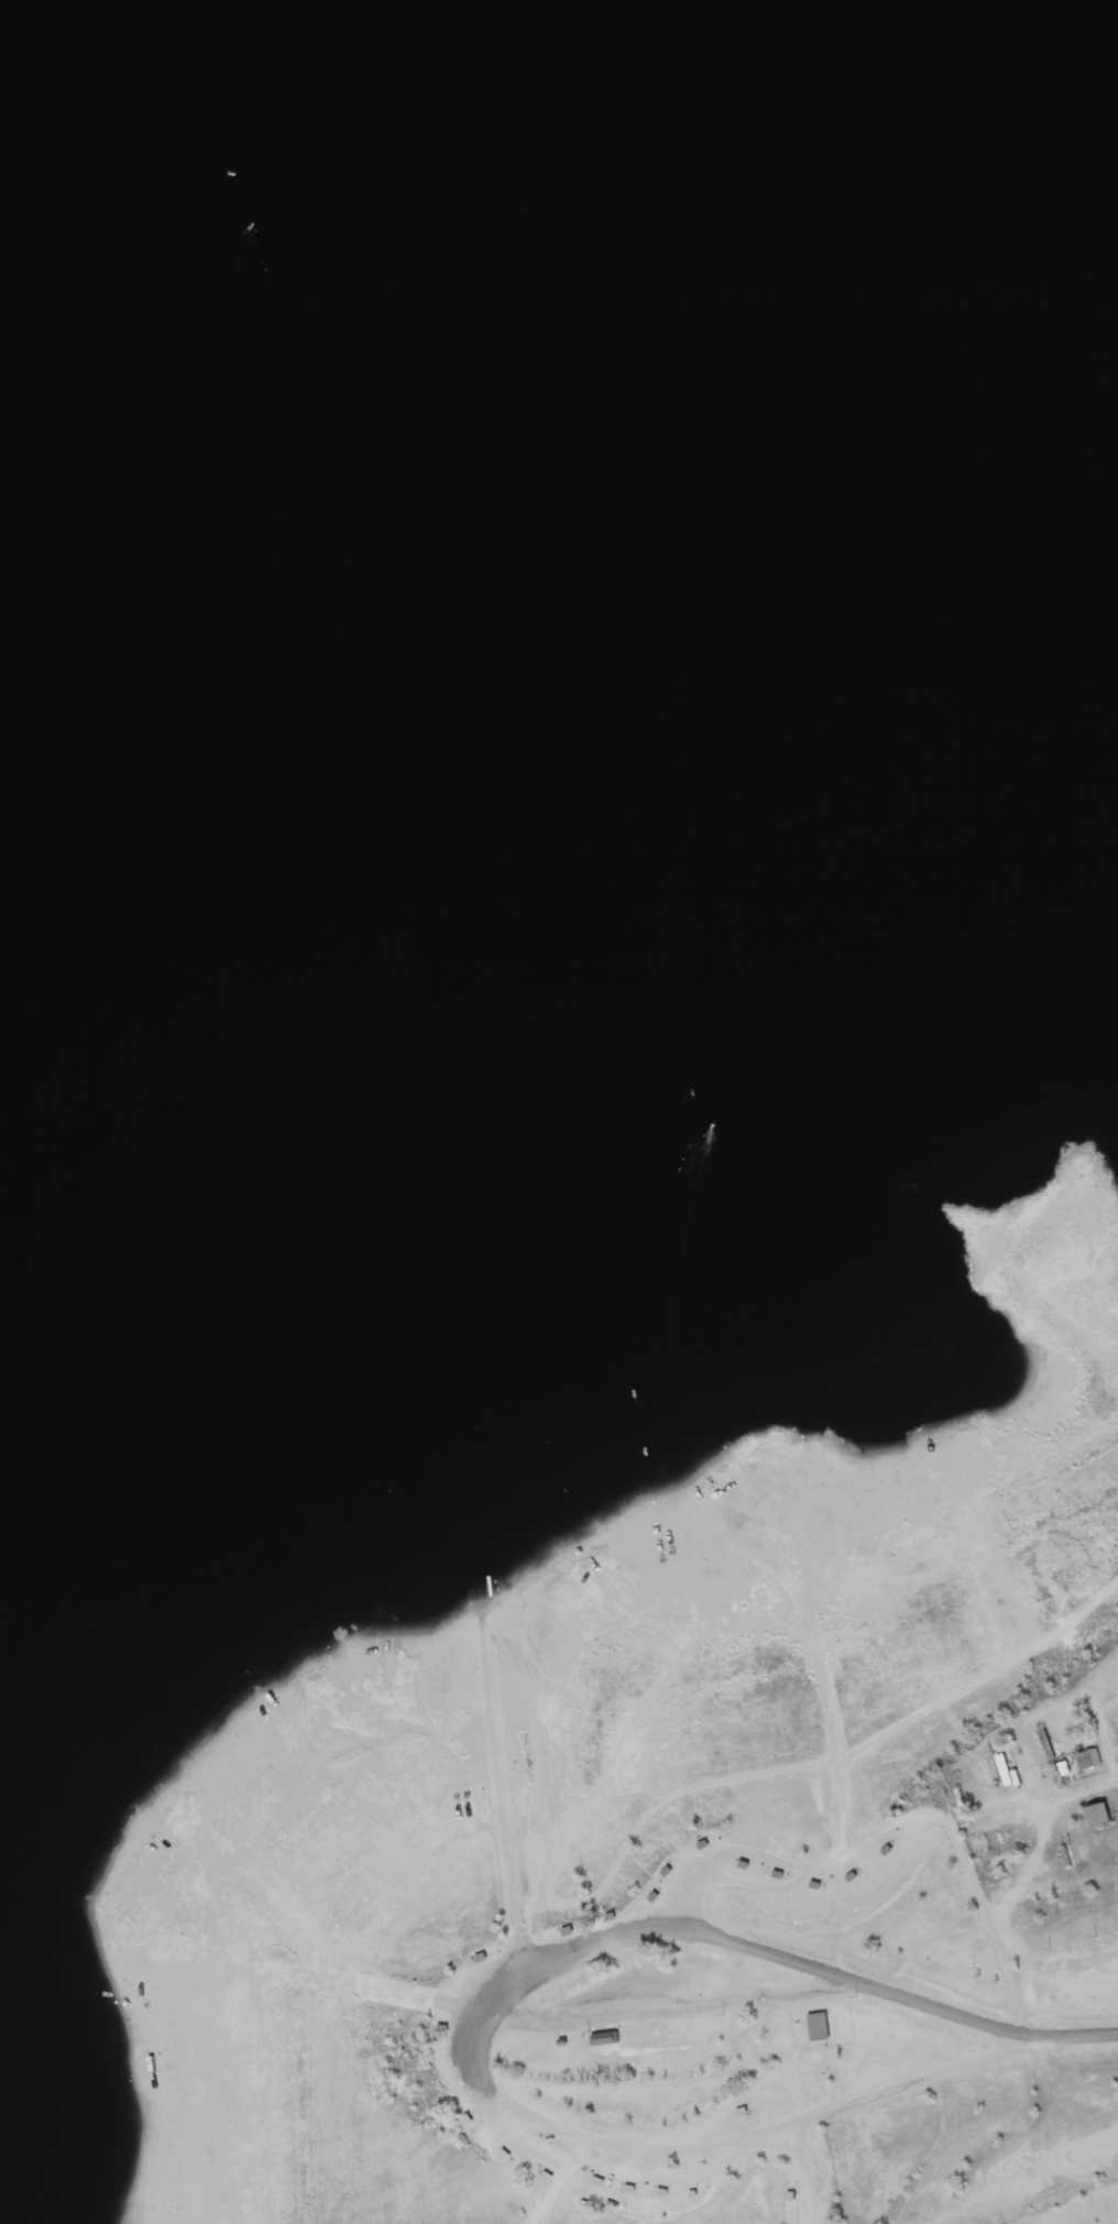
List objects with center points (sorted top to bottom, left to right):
building: (1117, 1722)
building: (1088, 1760)
building: (1005, 1771)
building: (1098, 1816)
road: (1100, 1905)
road: (731, 1933)
road: (864, 1935)
road: (1015, 1938)
road: (974, 1975)
building: (818, 2026)
building: (605, 2037)
road: (908, 2081)
road: (706, 2141)
road: (524, 2172)

